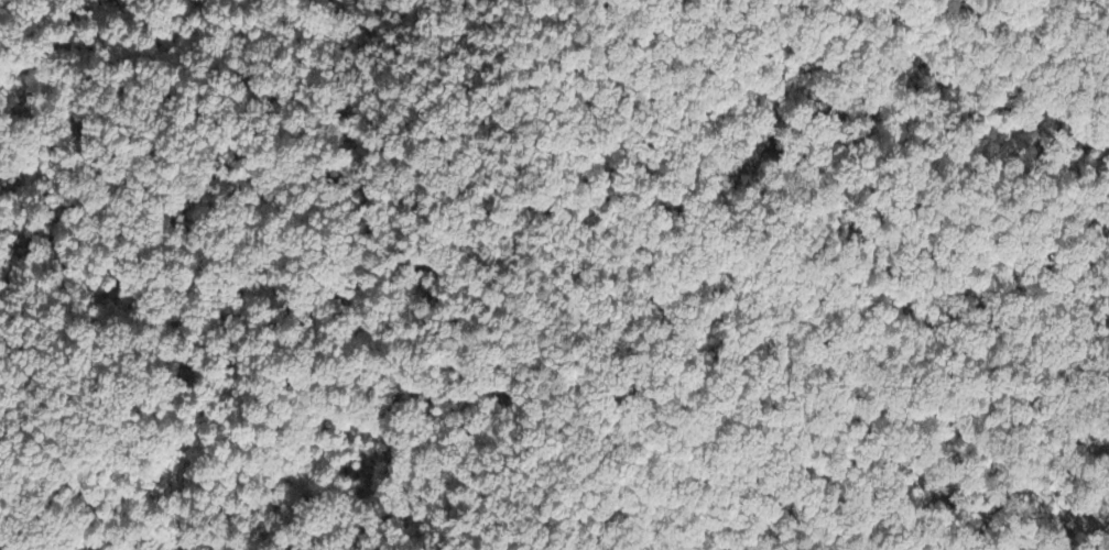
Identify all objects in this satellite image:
road: (30, 79)

